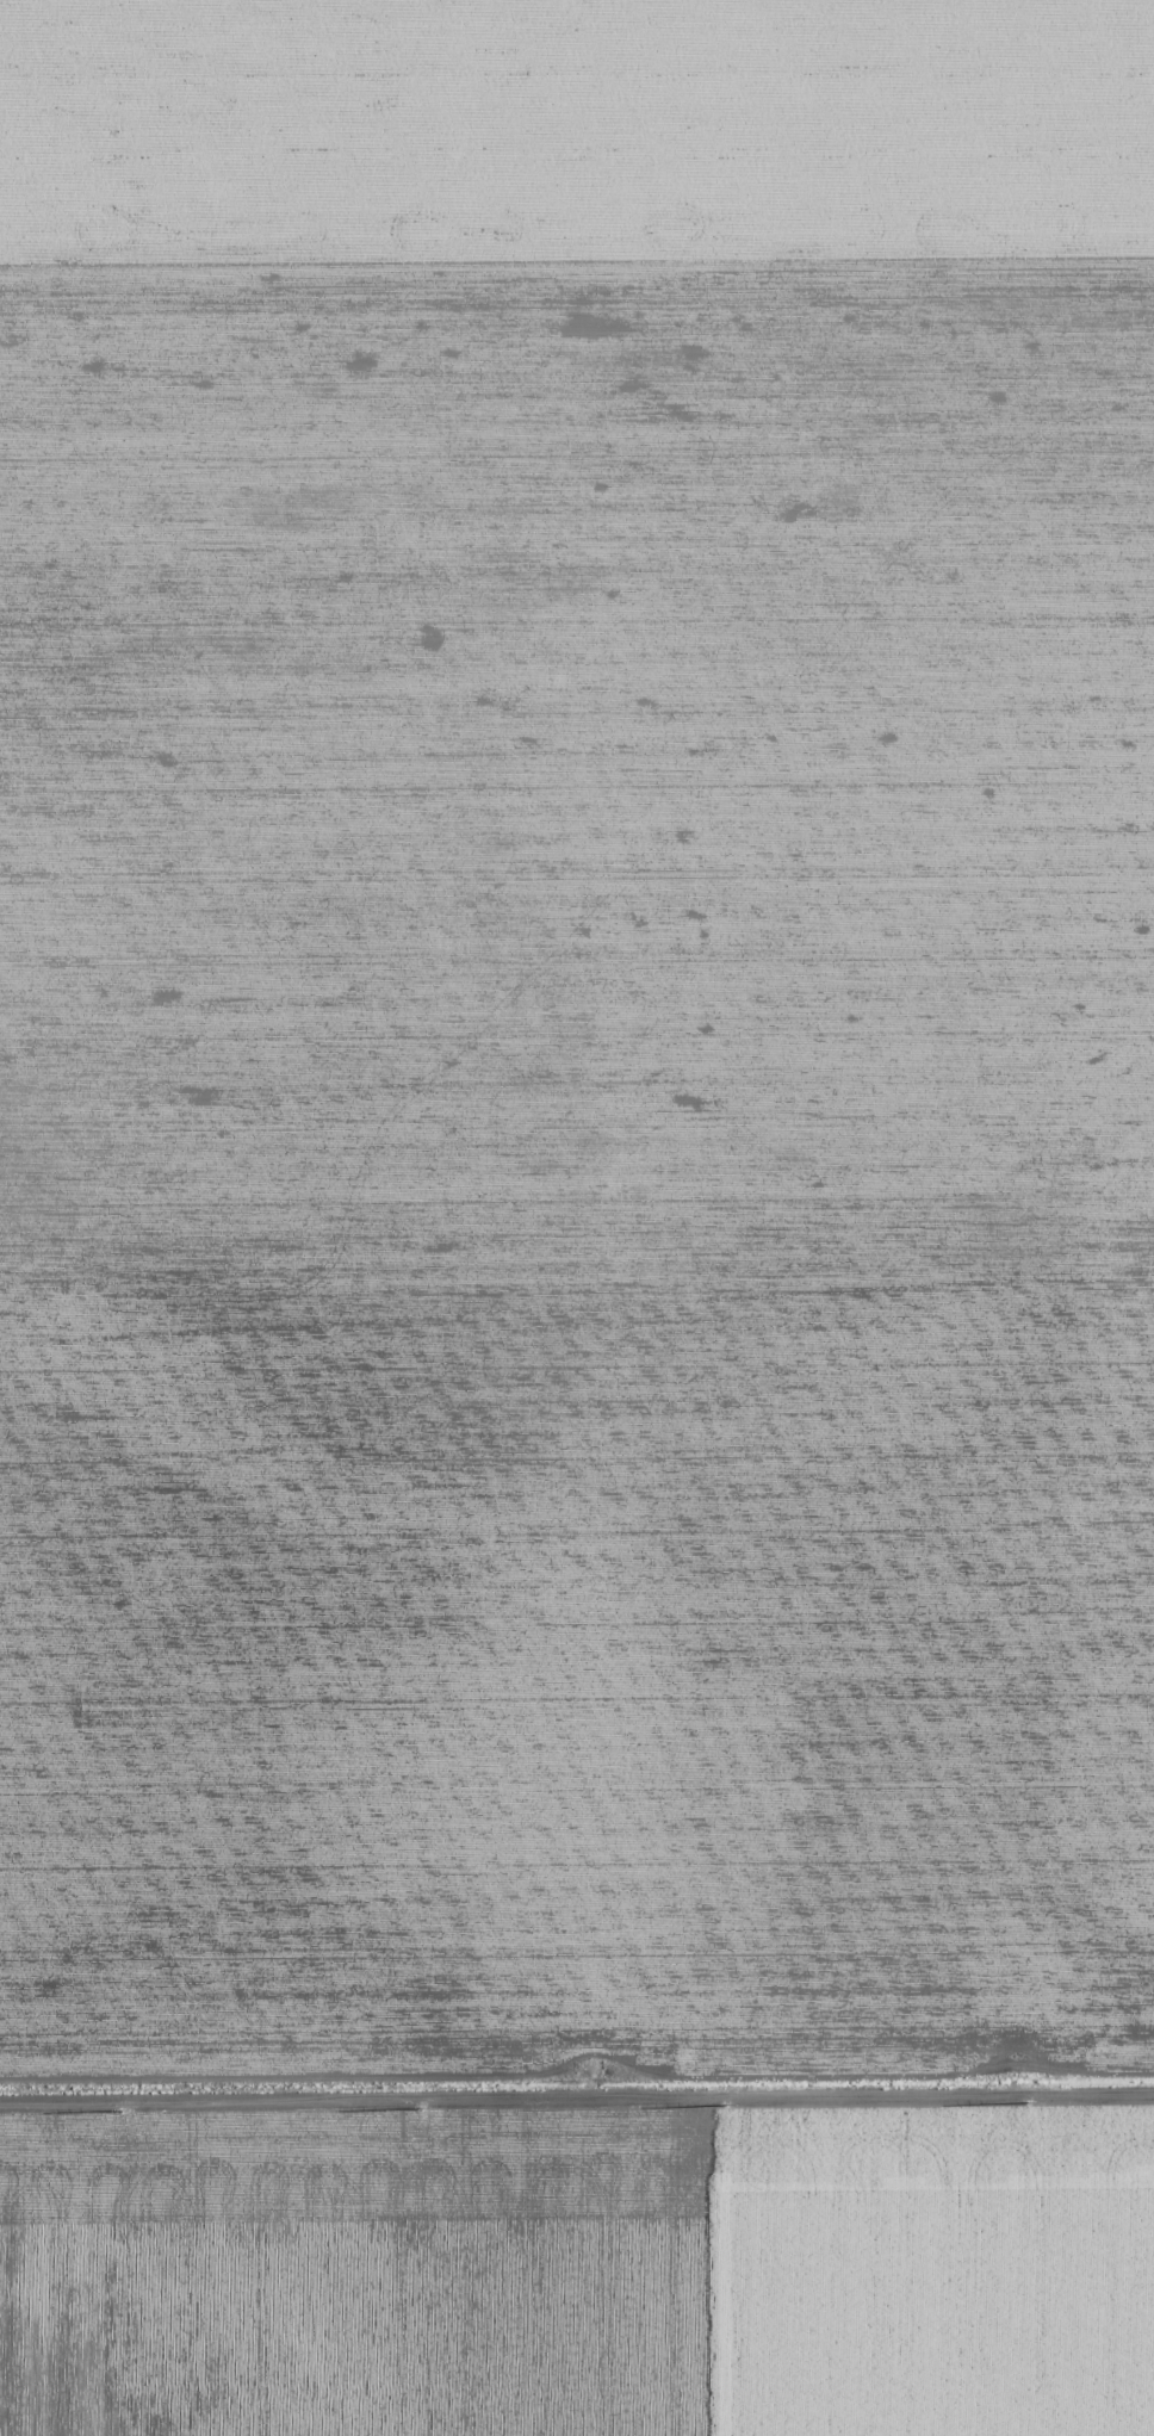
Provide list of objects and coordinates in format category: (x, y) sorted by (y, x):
power tower: (1035, 2101)
power tower: (734, 2103)
power tower: (427, 2106)
power tower: (128, 2109)

